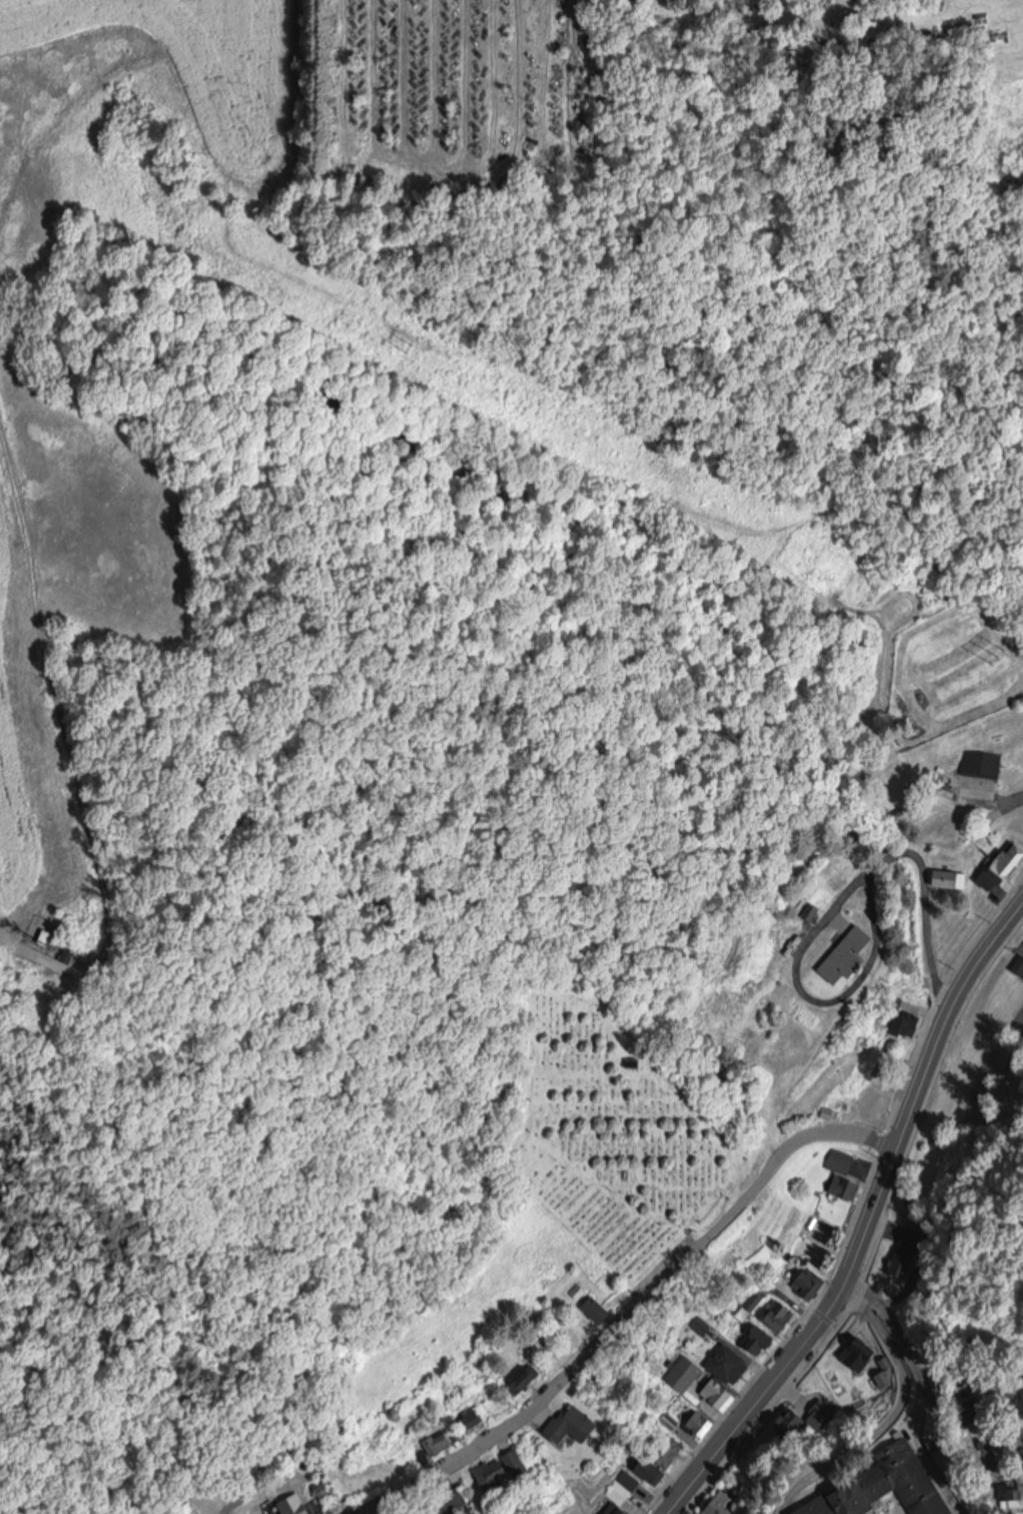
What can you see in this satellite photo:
power tower: (424, 348)
power tower: (1001, 655)
road: (64, 729)
road: (991, 801)
road: (831, 907)
building: (72, 953)
building: (54, 996)
road: (870, 1224)
road: (631, 1313)
building: (681, 1369)
road: (917, 1402)
road: (888, 1414)
building: (568, 1415)
road: (937, 1417)
building: (498, 1478)
building: (879, 1484)
building: (449, 1502)
building: (303, 1505)

